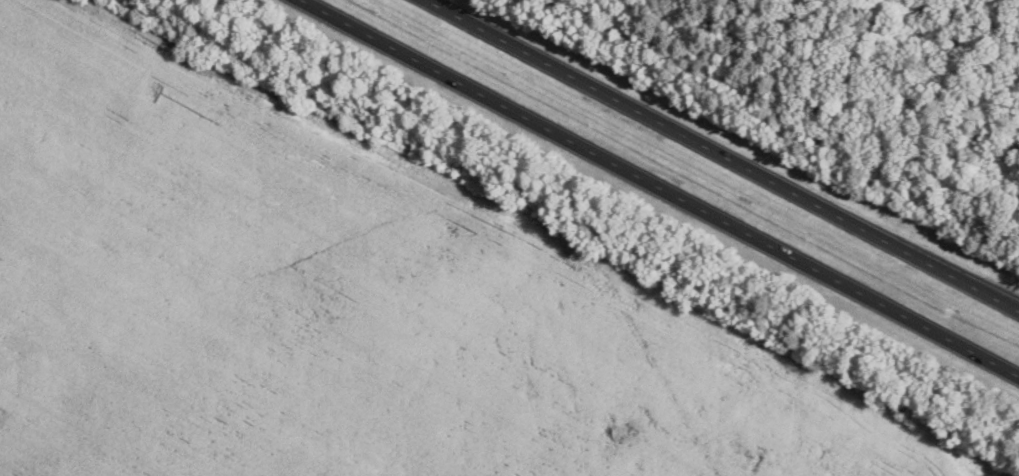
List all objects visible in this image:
road: (731, 151)
road: (658, 189)

